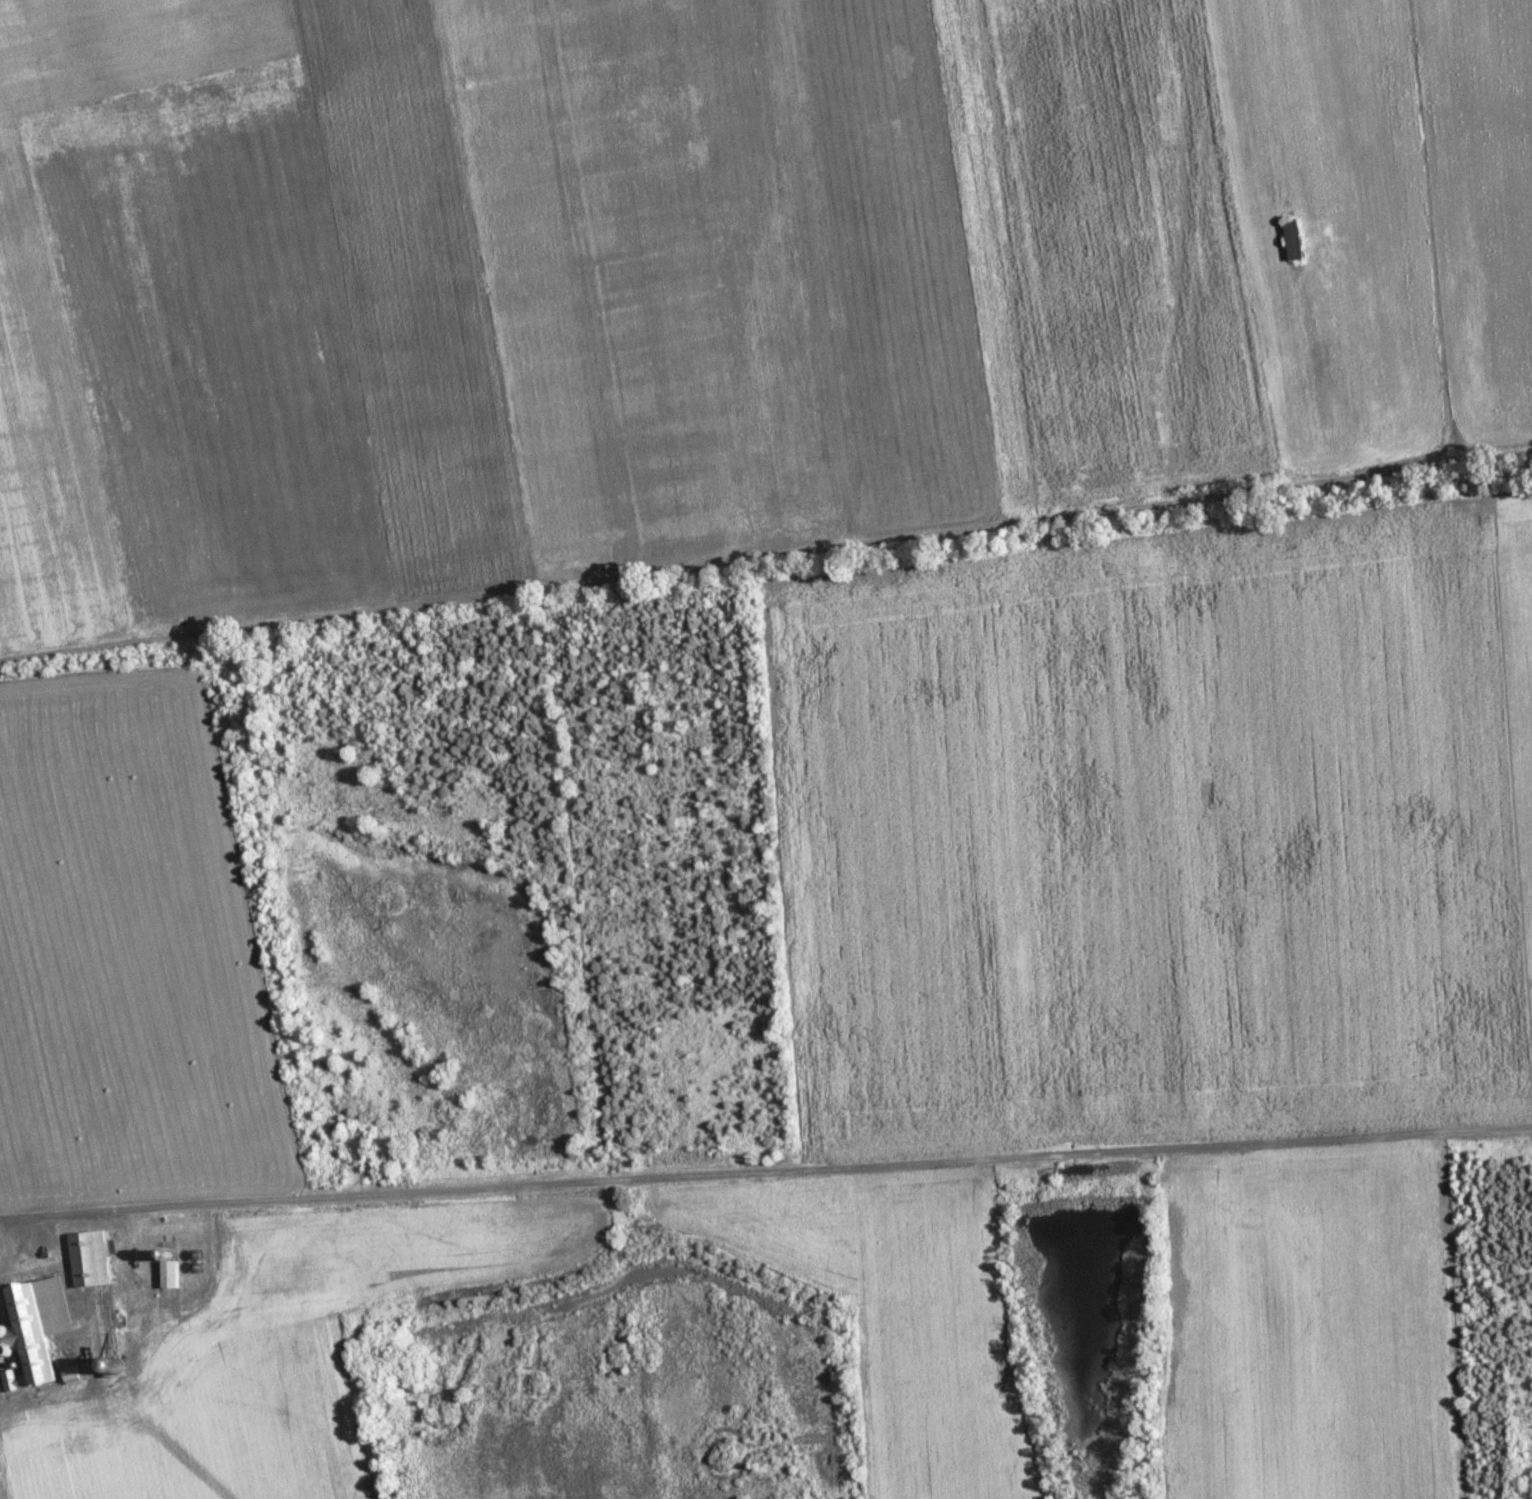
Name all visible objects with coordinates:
building: (1296, 240)
road: (766, 544)
building: (91, 1260)
building: (171, 1270)
building: (34, 1333)

